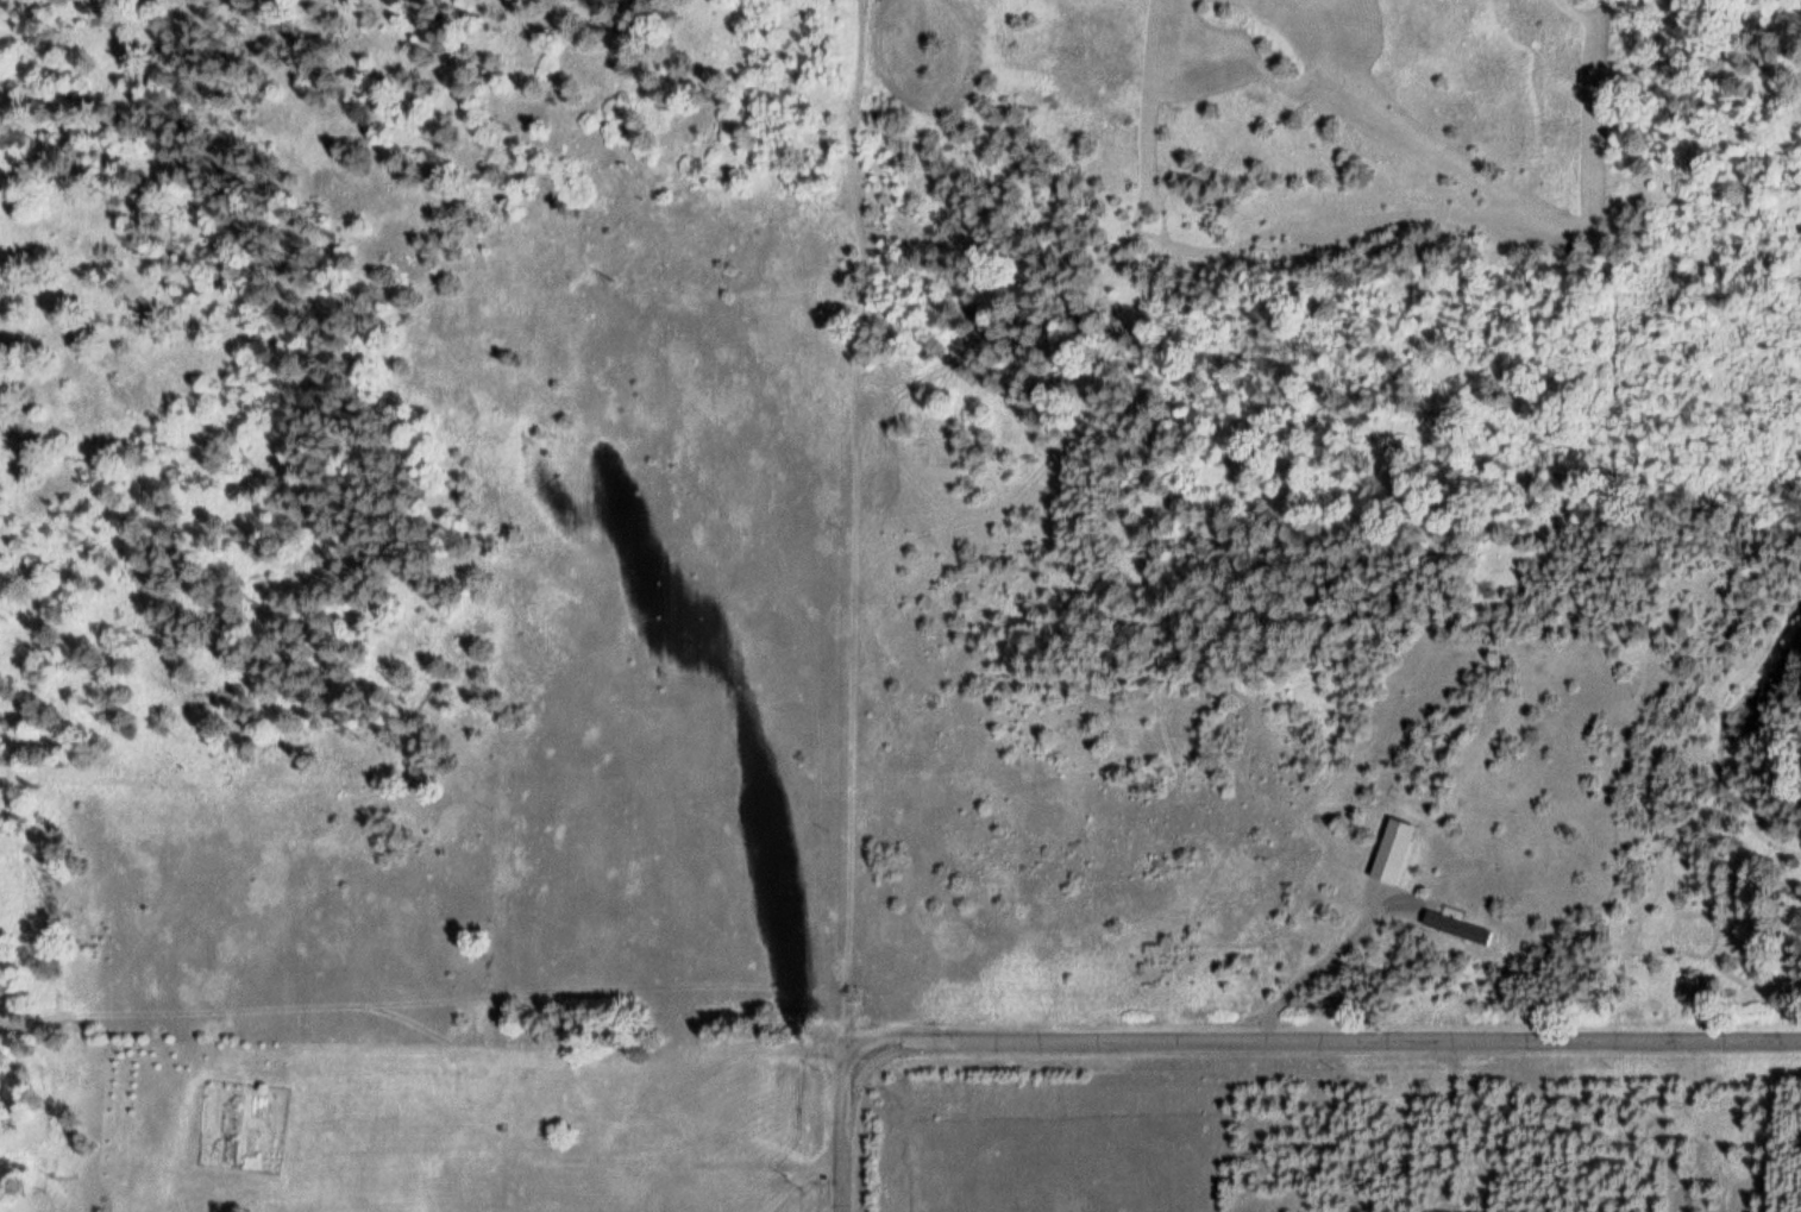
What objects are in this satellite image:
road: (1329, 1038)
road: (845, 1132)

